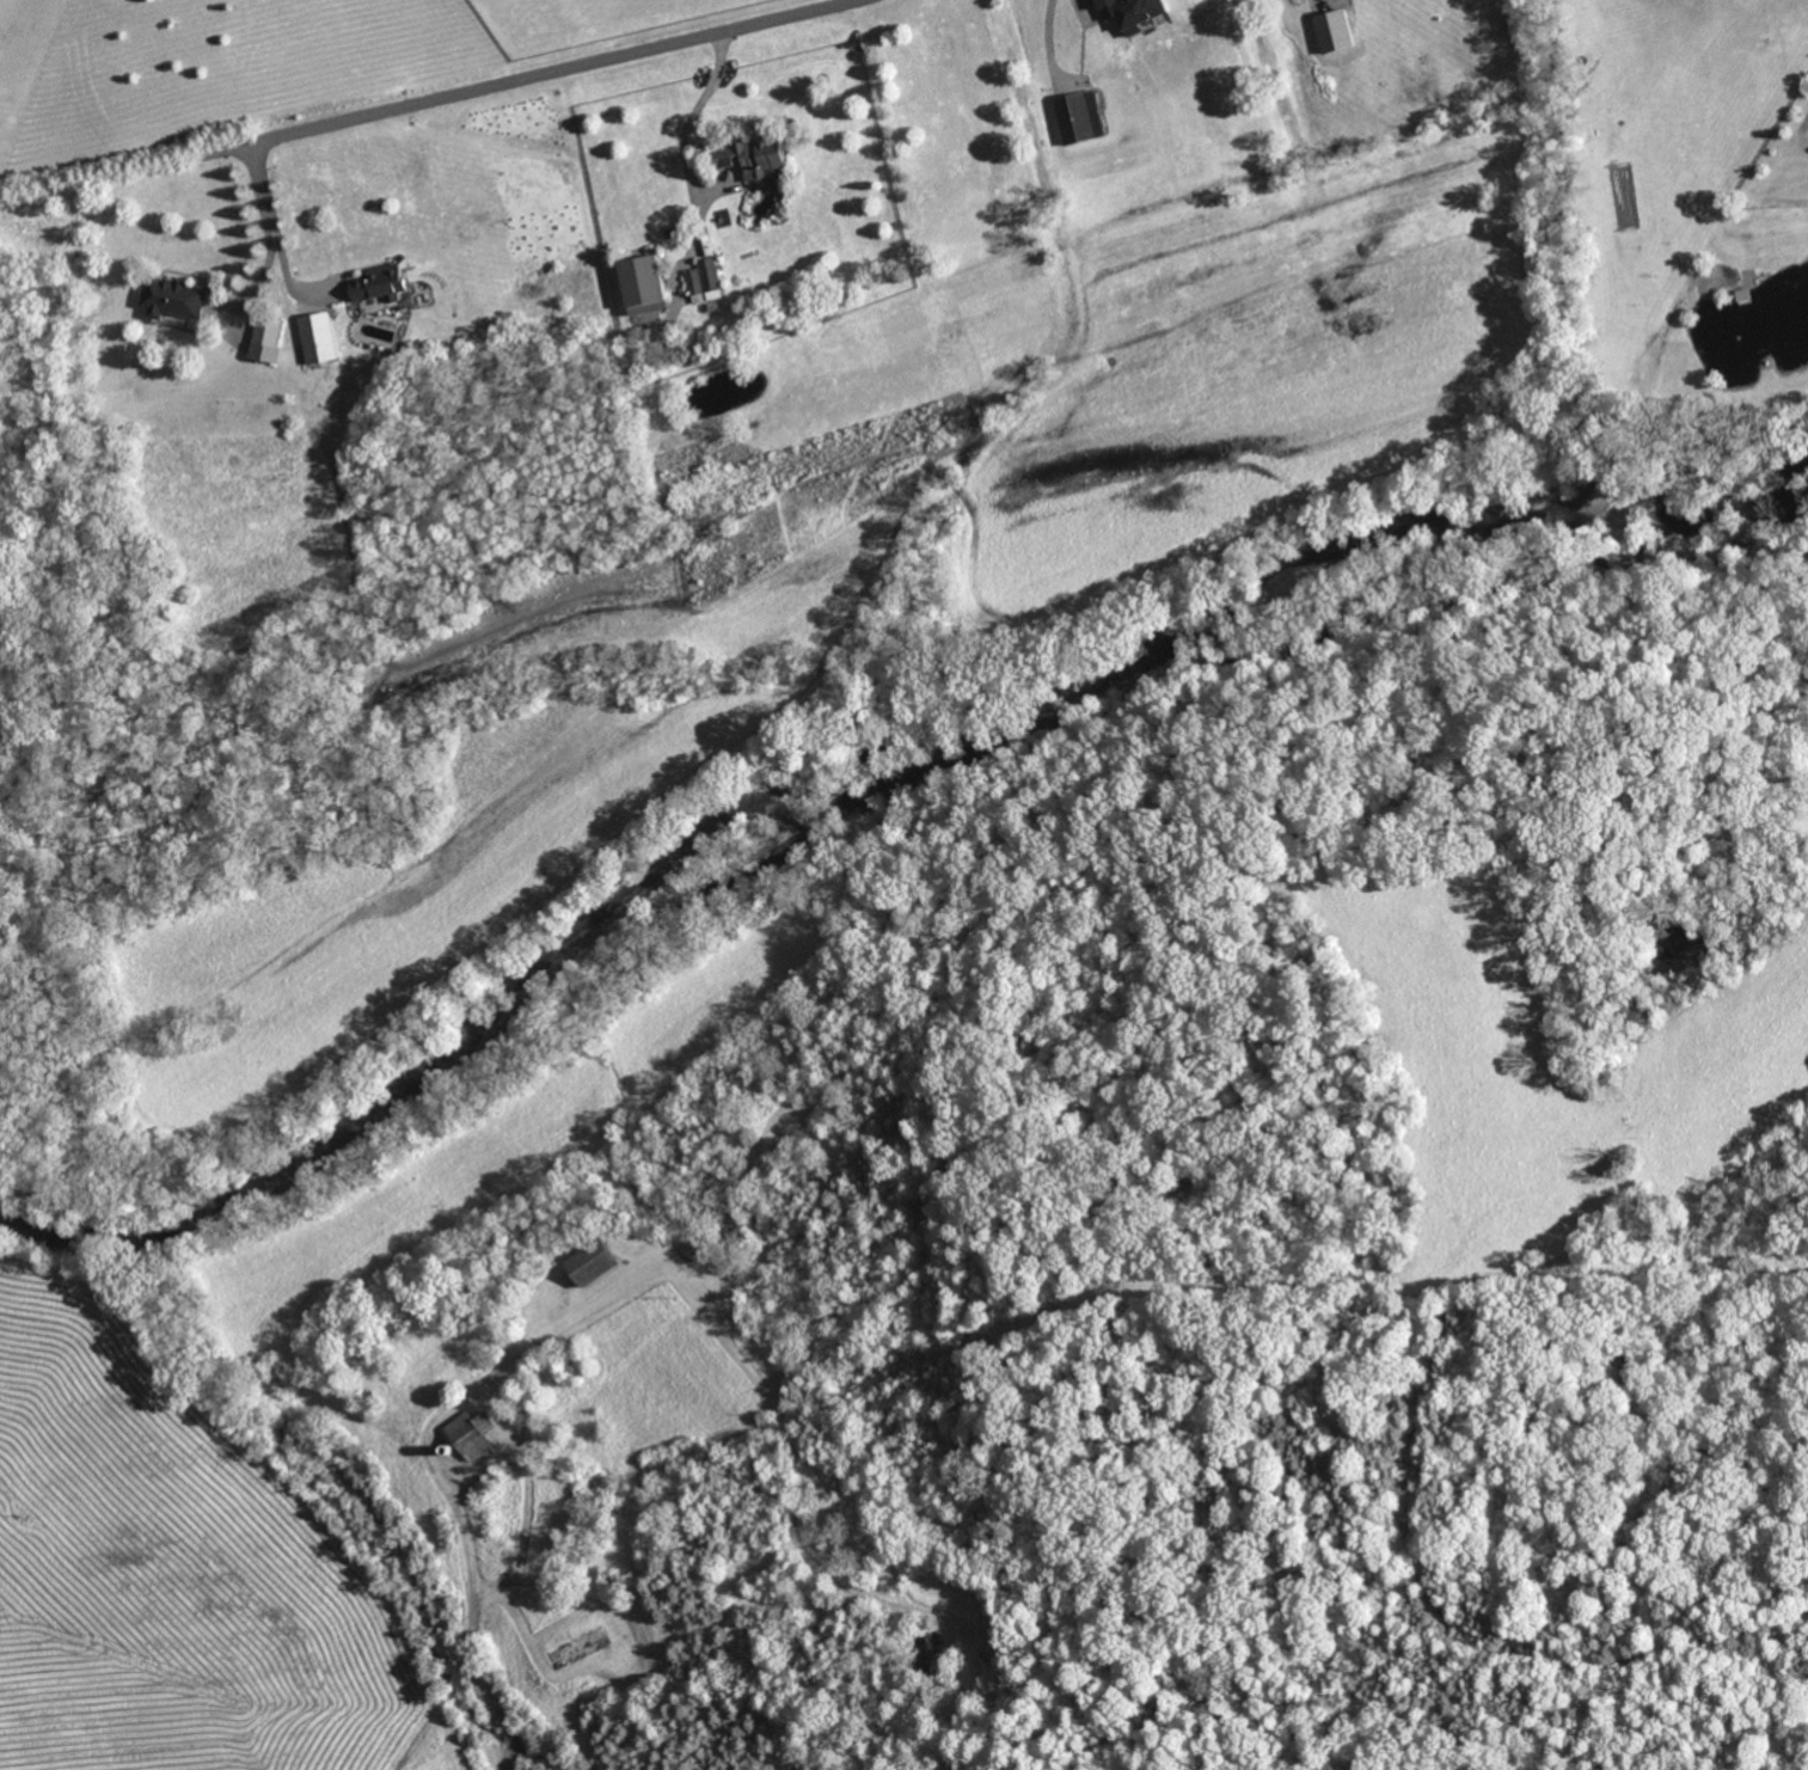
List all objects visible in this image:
road: (1081, 2)
building: (1132, 14)
road: (526, 75)
road: (690, 114)
building: (1078, 120)
building: (754, 159)
road: (265, 228)
road: (274, 237)
building: (706, 282)
building: (380, 284)
building: (646, 286)
building: (173, 299)
building: (313, 326)
building: (269, 332)
river: (868, 789)
building: (729, 1138)
building: (737, 1153)
building: (648, 1236)
building: (798, 1237)
building: (693, 1253)
building: (624, 1258)
building: (593, 1263)
building: (686, 1263)
building: (278, 1372)
building: (369, 1400)
building: (472, 1433)
building: (448, 1451)
building: (508, 1464)
building: (613, 1578)
road: (470, 1611)
building: (578, 1646)

